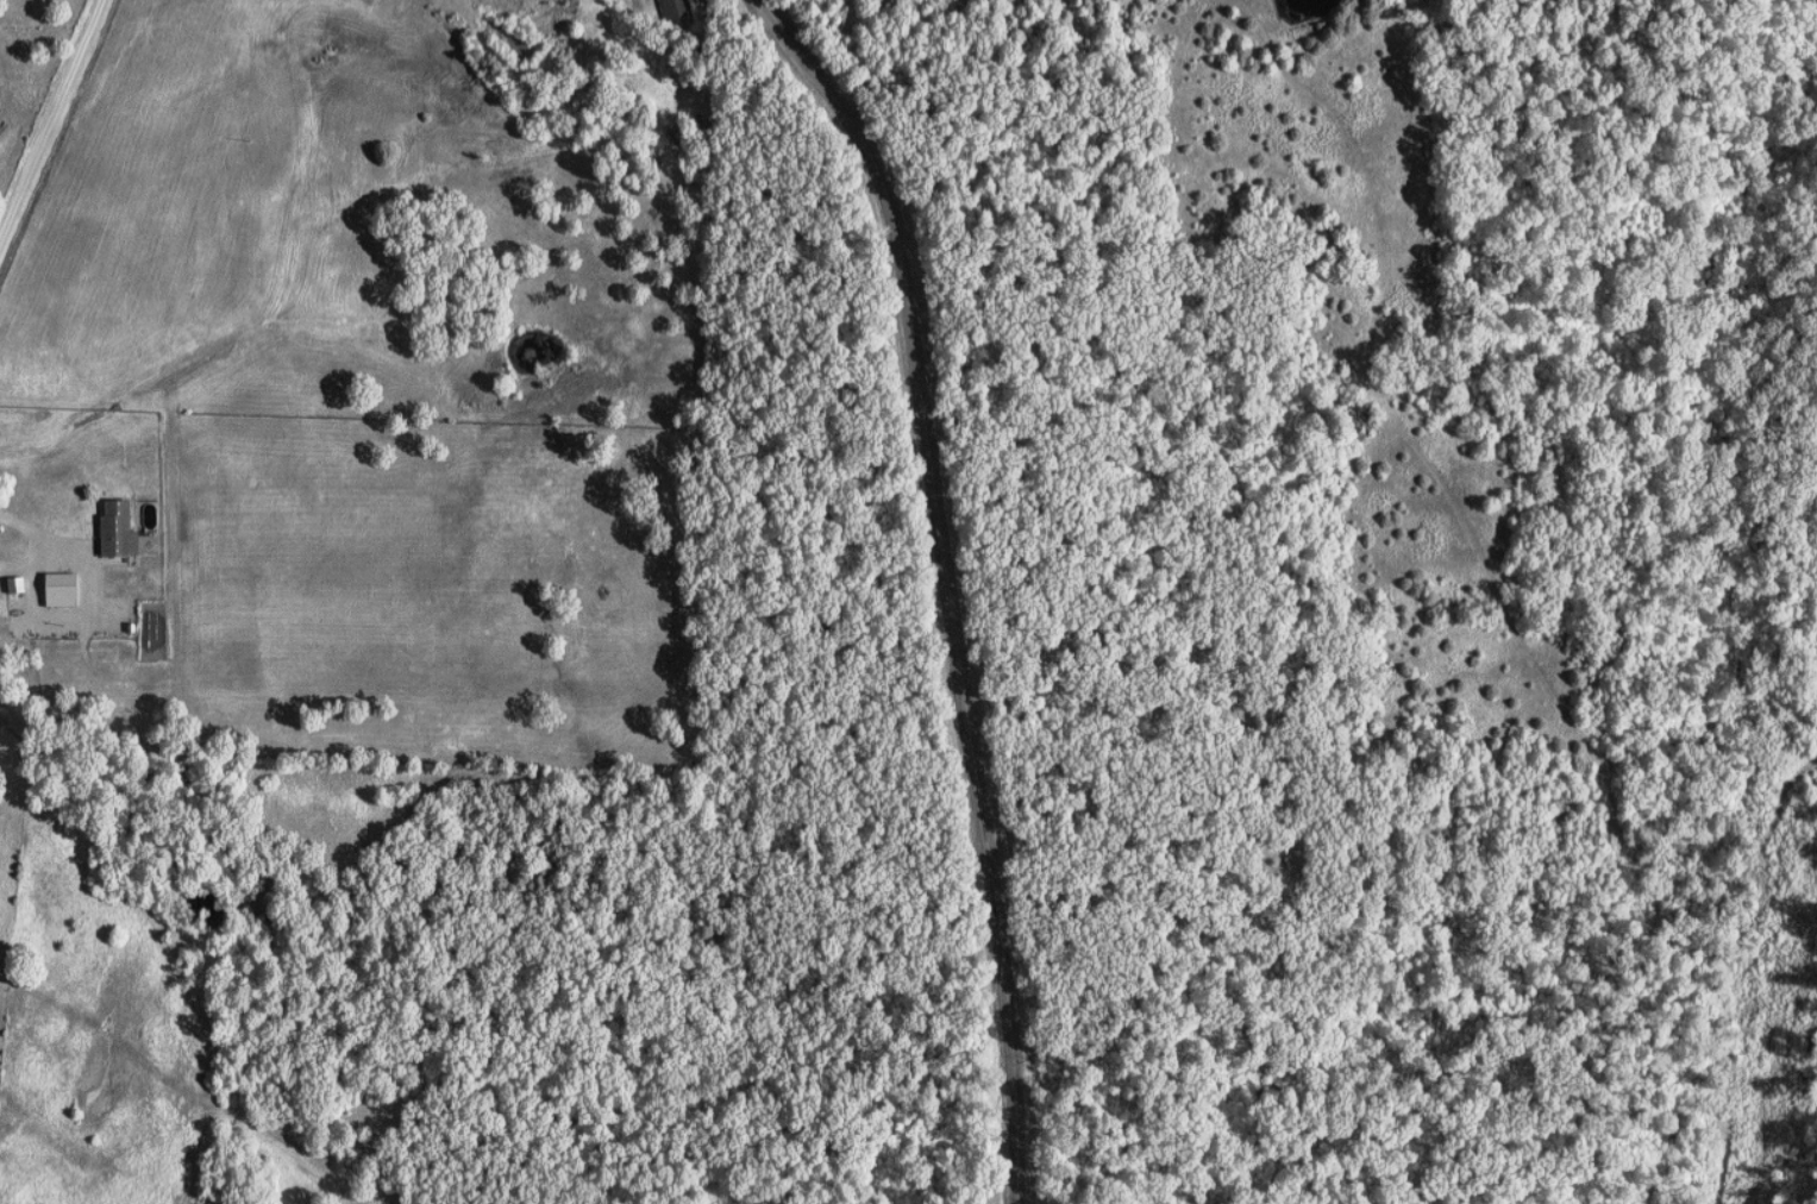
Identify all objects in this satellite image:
building: (675, 8)
road: (55, 130)
building: (115, 531)
road: (48, 540)
road: (953, 583)
building: (14, 585)
building: (59, 590)
road: (218, 1091)

